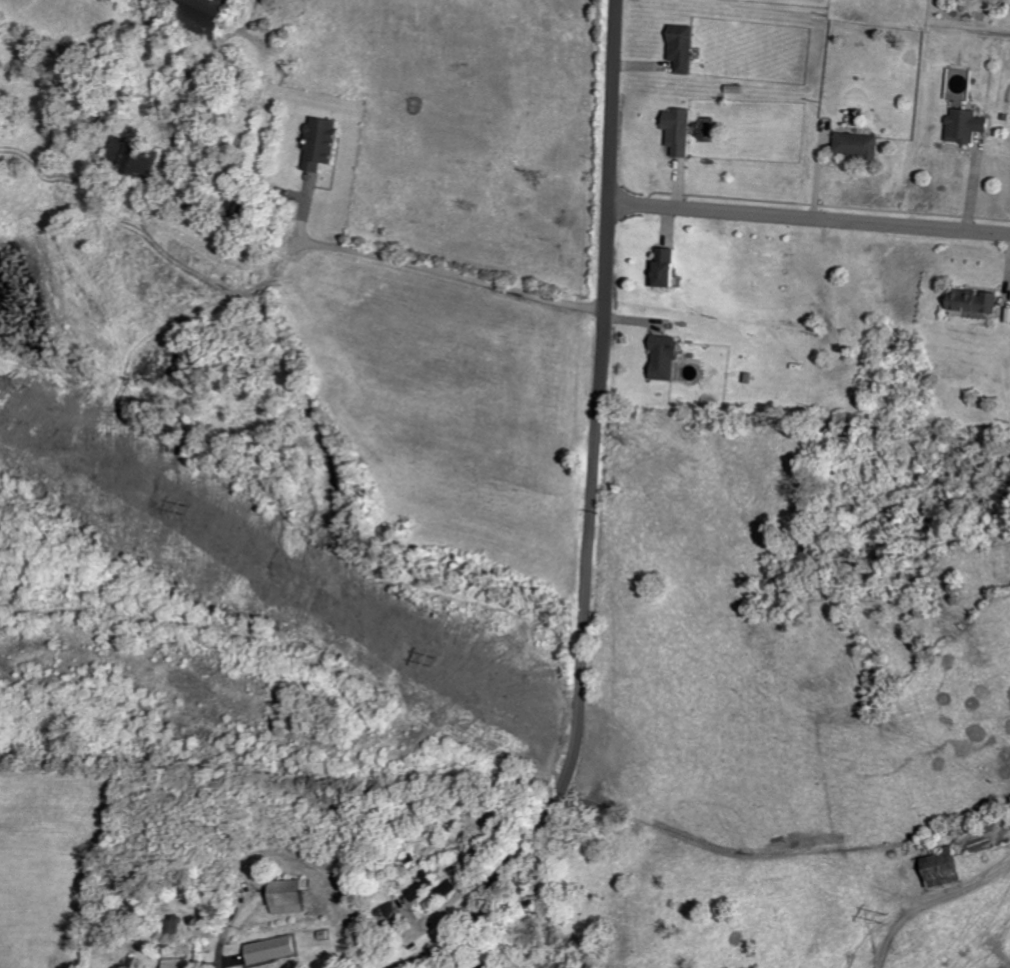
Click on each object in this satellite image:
building: (209, 15)
building: (686, 49)
building: (738, 89)
building: (970, 125)
building: (683, 130)
building: (325, 143)
building: (861, 145)
building: (138, 156)
road: (809, 218)
road: (422, 268)
building: (669, 268)
building: (978, 300)
building: (668, 356)
road: (591, 512)
building: (948, 868)
building: (425, 885)
building: (449, 888)
building: (295, 896)
building: (392, 914)
building: (177, 924)
building: (276, 949)
road: (217, 955)
building: (186, 963)
building: (495, 967)

